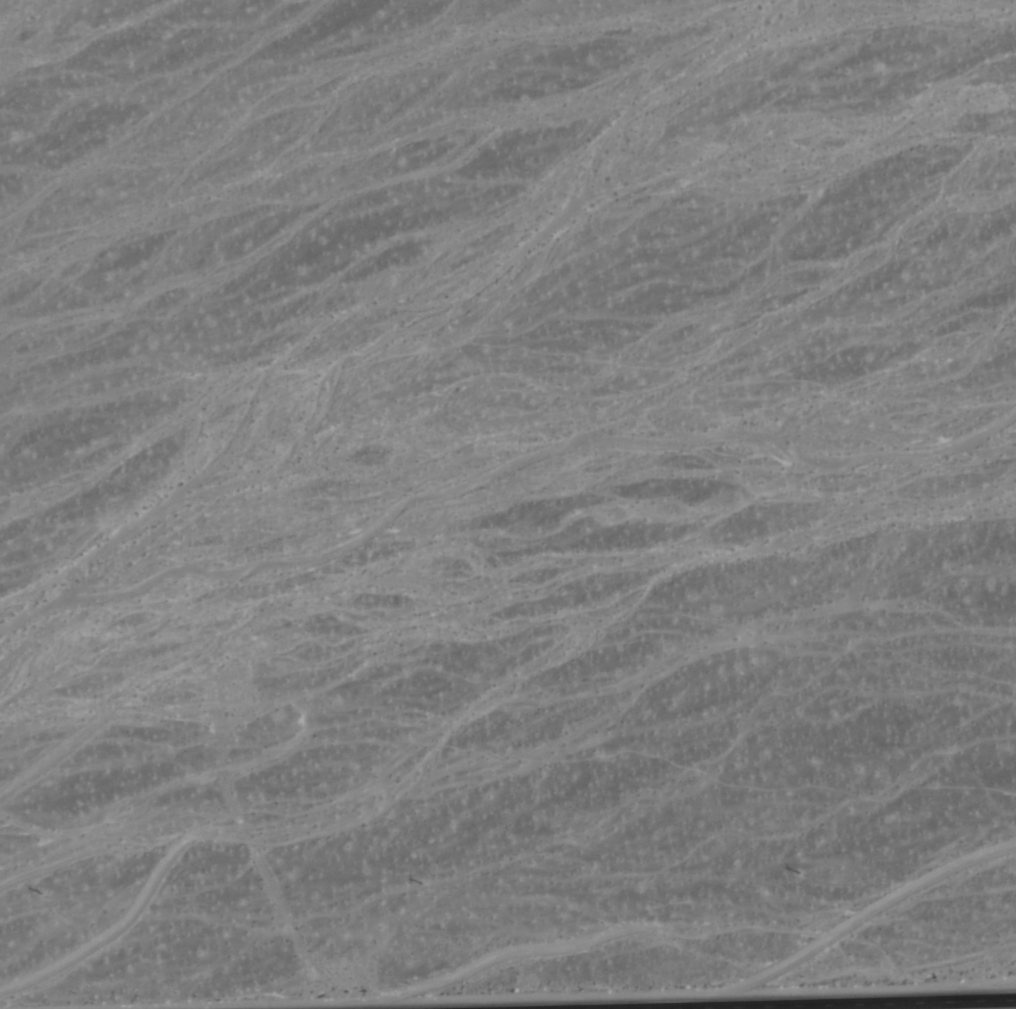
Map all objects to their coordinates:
road: (839, 1004)

